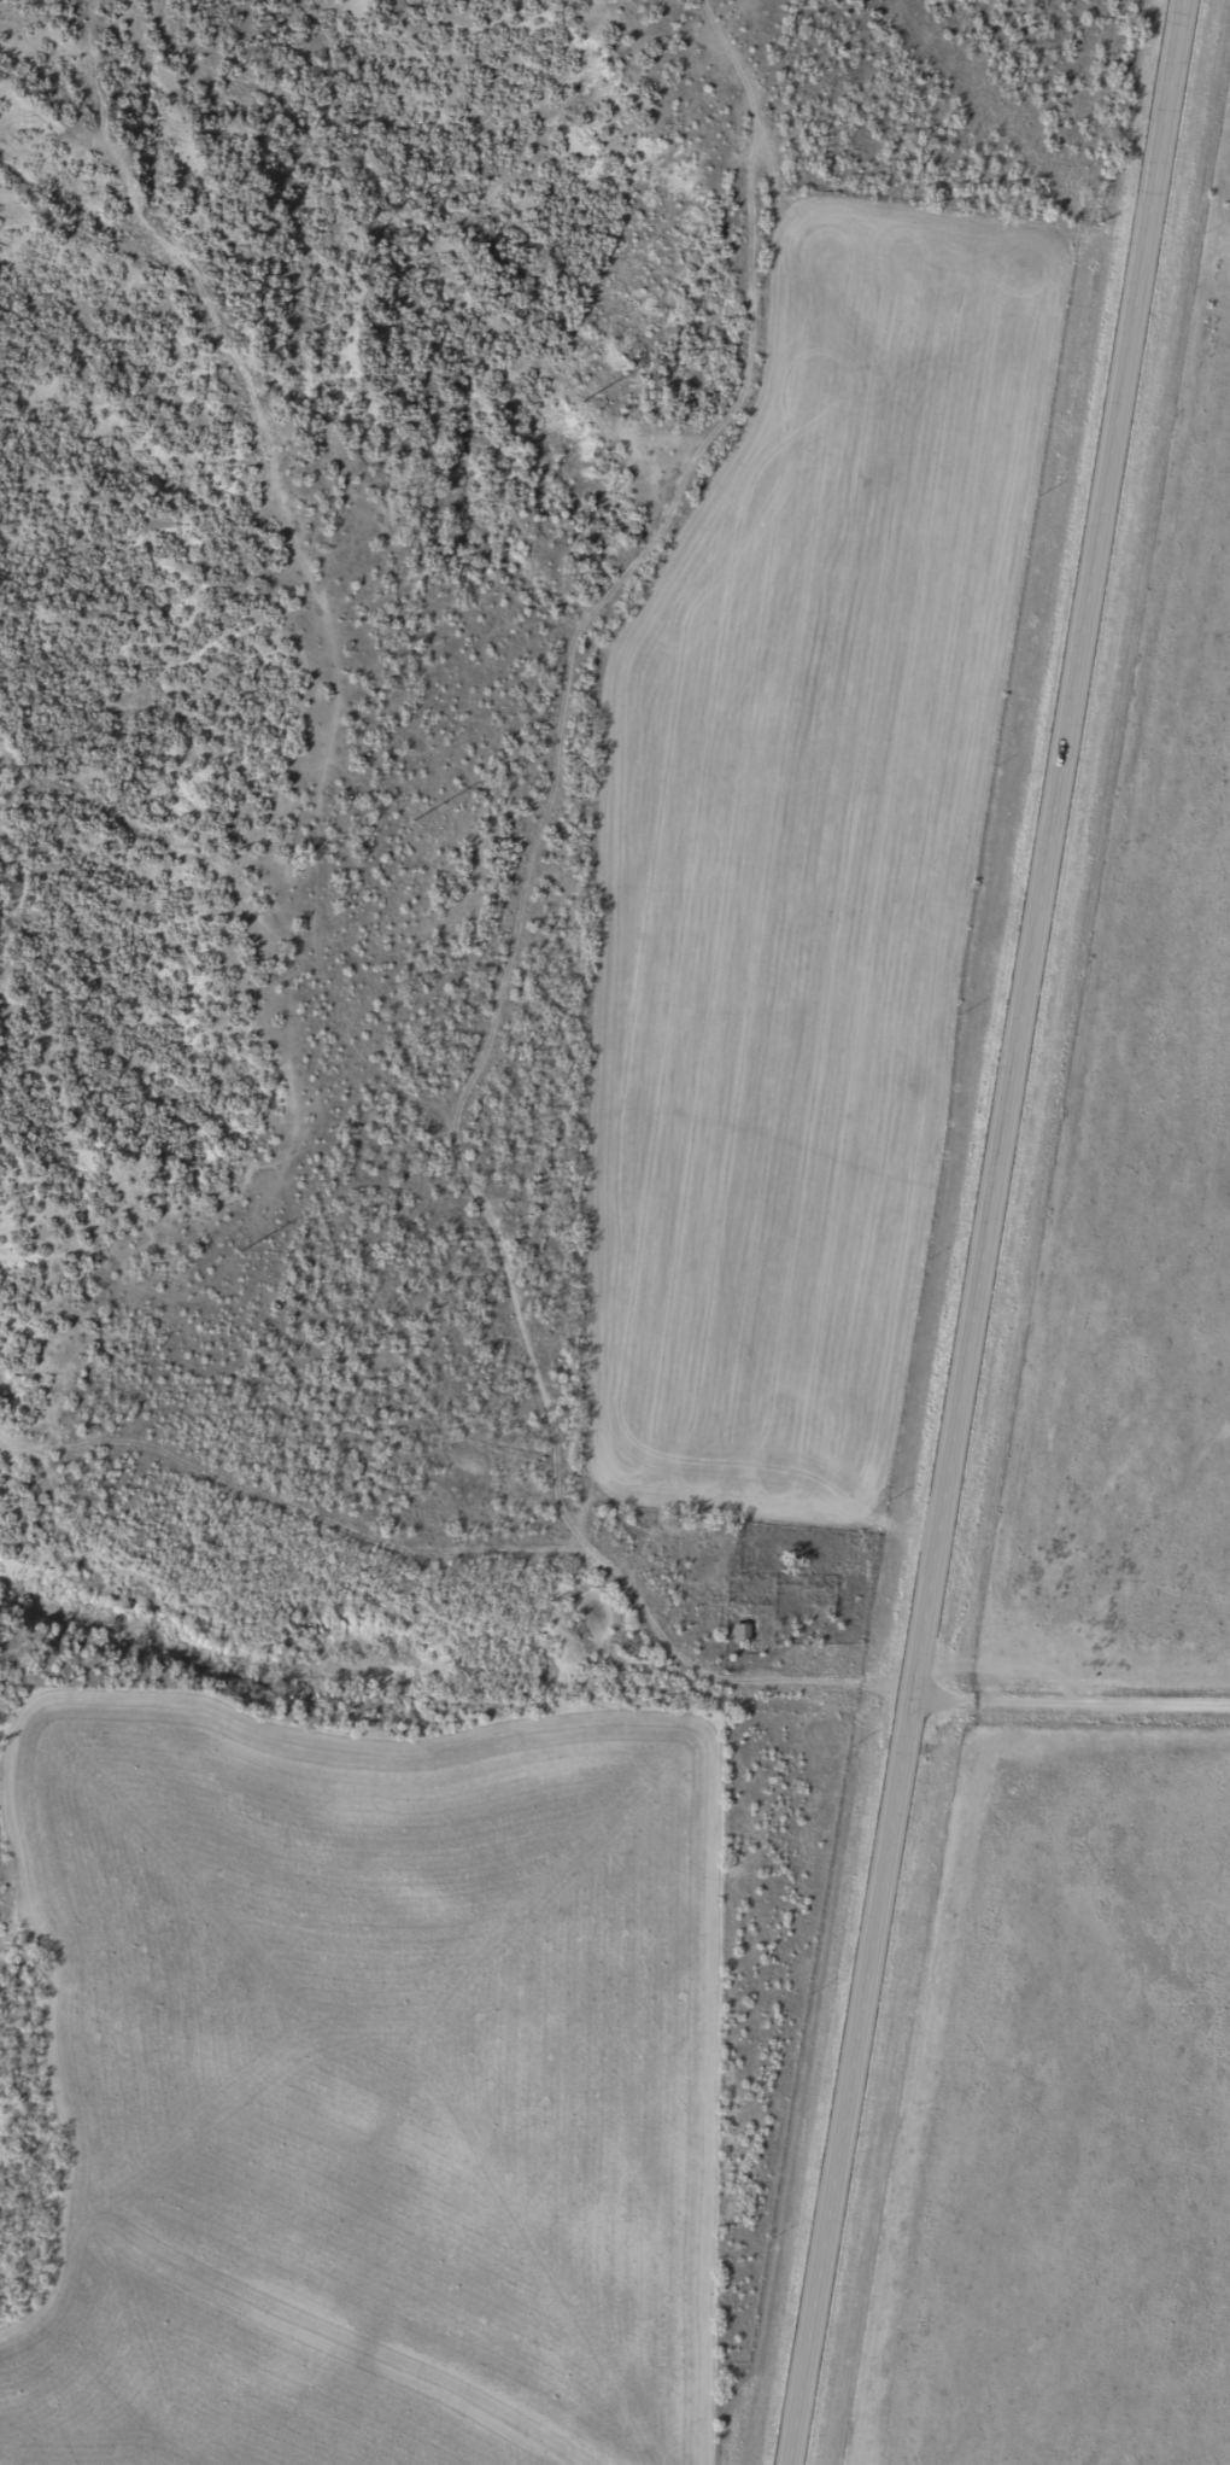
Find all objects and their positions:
power tower: (579, 407)
power tower: (410, 826)
road: (989, 1232)
power tower: (241, 1245)
building: (738, 1632)
road: (689, 1673)
power tower: (68, 1678)
road: (1070, 1705)

